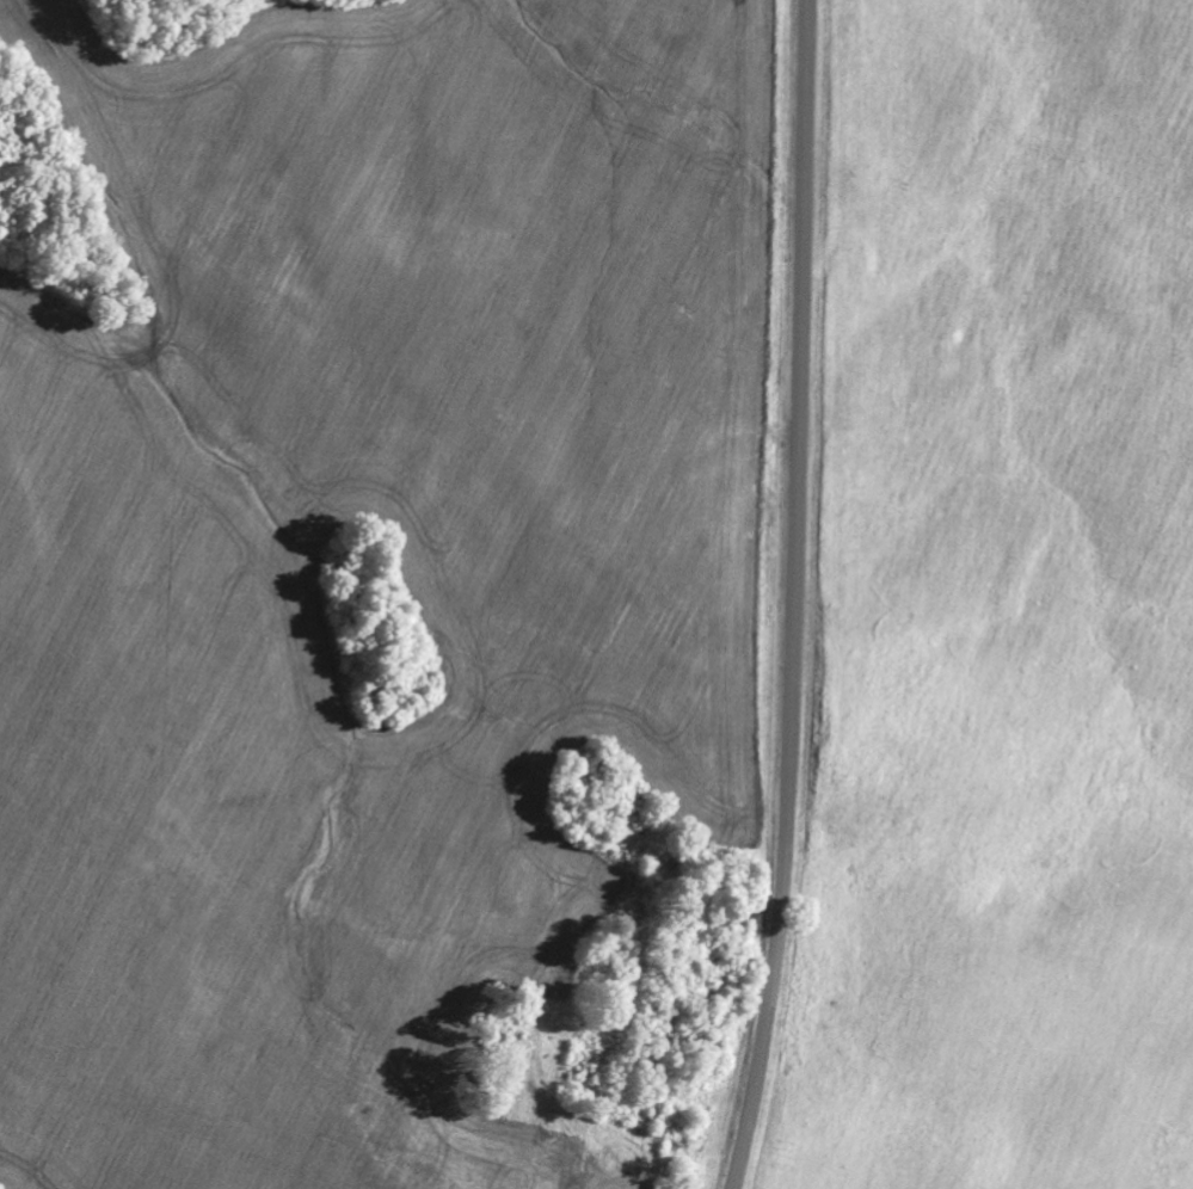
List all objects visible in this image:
road: (794, 596)

